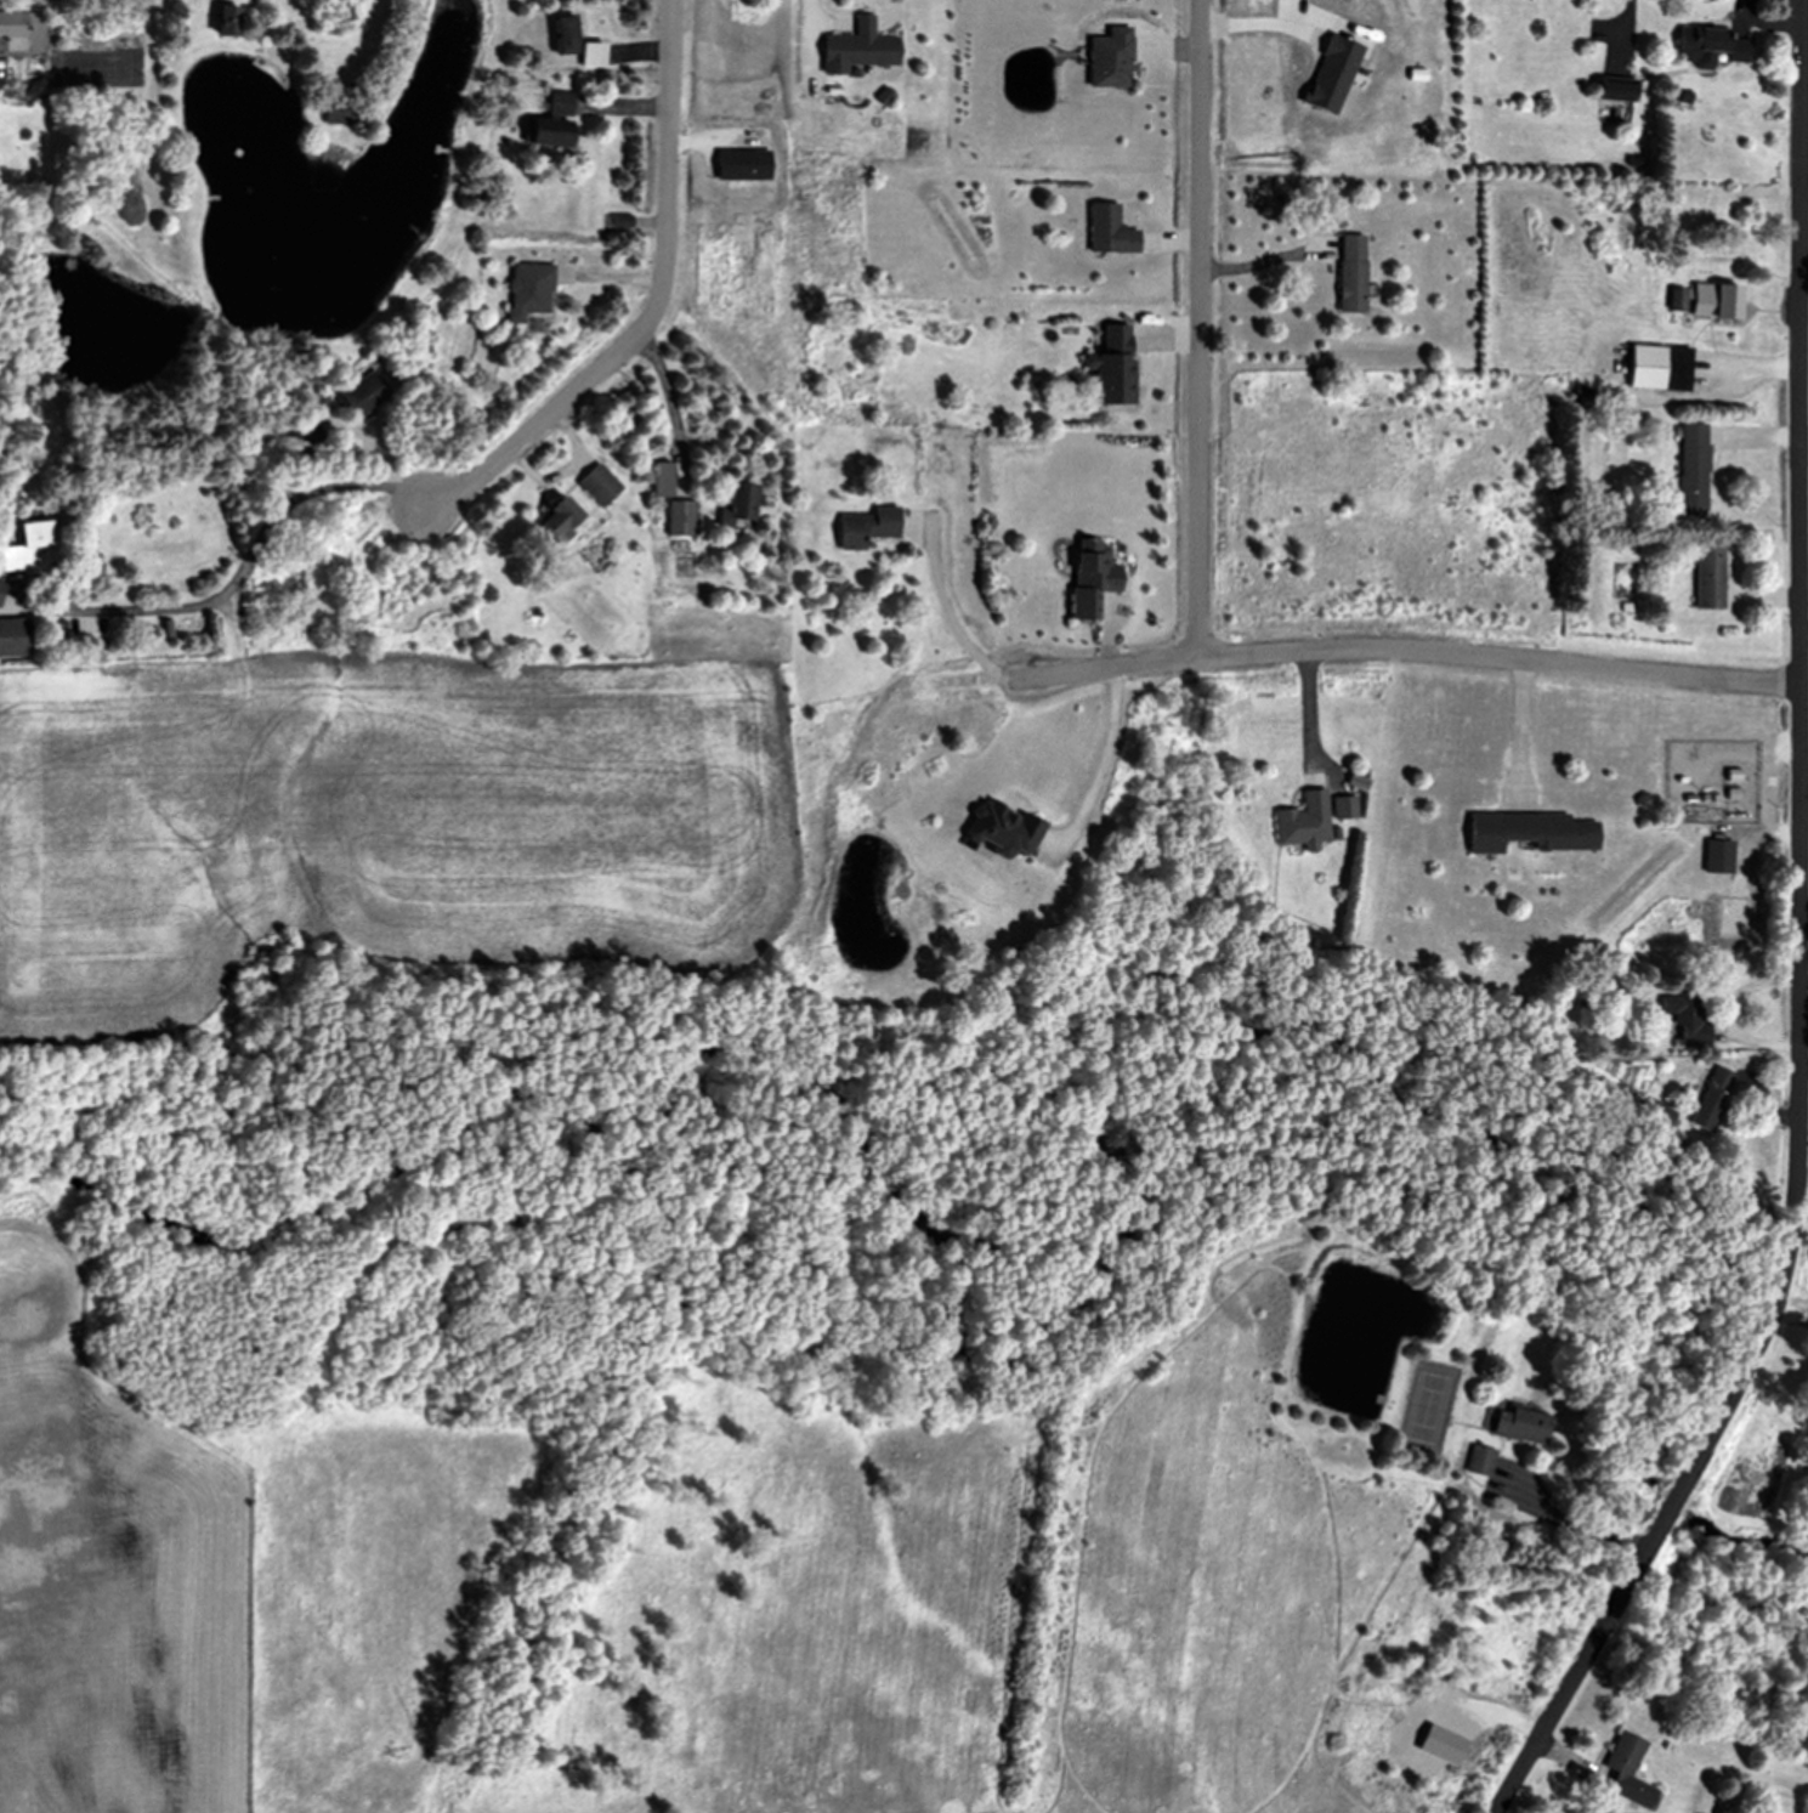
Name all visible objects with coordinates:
building: (287, 0)
building: (341, 10)
building: (220, 21)
road: (1764, 21)
road: (1630, 23)
road: (810, 32)
building: (19, 33)
building: (561, 35)
road: (652, 47)
building: (1704, 47)
building: (854, 49)
road: (1181, 49)
building: (588, 56)
building: (1105, 60)
building: (1327, 75)
building: (1609, 90)
building: (880, 97)
road: (648, 107)
building: (334, 114)
building: (548, 123)
building: (738, 166)
building: (618, 222)
building: (1105, 231)
road: (1183, 240)
road: (1257, 264)
building: (1347, 274)
building: (526, 291)
building: (1672, 301)
building: (1710, 302)
road: (659, 305)
road: (1201, 327)
road: (1177, 338)
road: (1764, 363)
building: (1655, 369)
road: (670, 393)
building: (359, 396)
road: (1772, 436)
road: (1804, 452)
building: (1689, 469)
road: (569, 471)
building: (657, 481)
building: (595, 486)
building: (733, 506)
road: (276, 519)
building: (675, 520)
building: (551, 521)
building: (862, 528)
building: (25, 549)
building: (1705, 578)
building: (1087, 579)
road: (1770, 597)
road: (952, 616)
building: (164, 630)
building: (10, 639)
road: (1501, 655)
road: (1110, 665)
road: (1308, 703)
road: (1520, 715)
road: (1109, 735)
building: (1341, 809)
building: (1299, 823)
building: (997, 832)
building: (1524, 834)
building: (1715, 859)
road: (1801, 944)
building: (1685, 1012)
road: (1733, 1012)
building: (1710, 1100)
road: (1783, 1114)
building: (1655, 1115)
road: (1791, 1311)
building: (1517, 1427)
building: (1489, 1467)
road: (1579, 1525)
airport: (95, 1534)
building: (1438, 1746)
road: (1557, 1751)
building: (1623, 1773)

